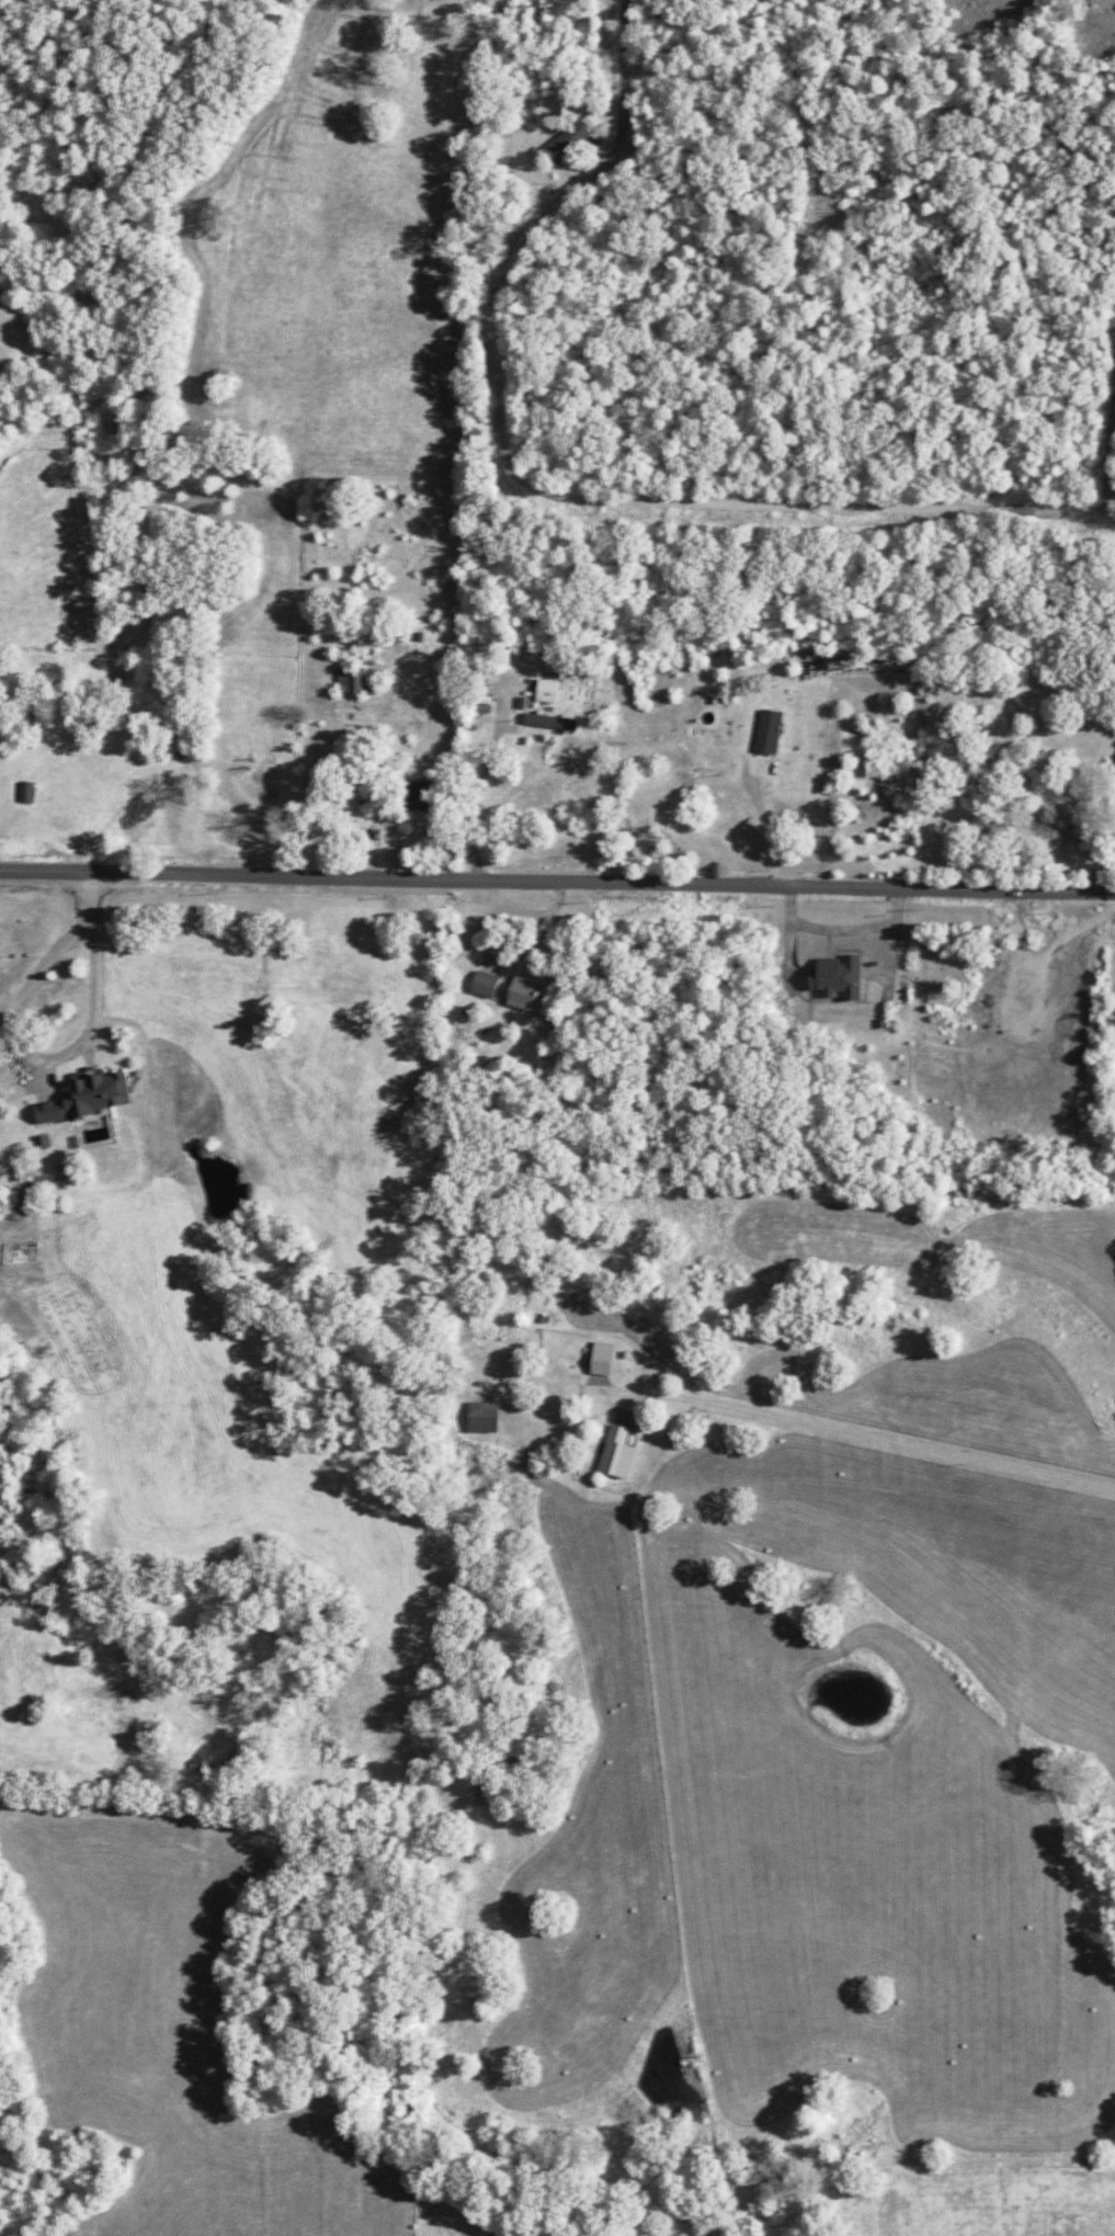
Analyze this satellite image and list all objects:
road: (788, 102)
building: (590, 121)
building: (567, 141)
road: (549, 495)
road: (1114, 500)
building: (351, 680)
building: (546, 691)
building: (549, 722)
building: (767, 731)
building: (25, 792)
building: (418, 796)
road: (557, 881)
building: (837, 977)
building: (483, 984)
building: (523, 994)
building: (87, 1098)
building: (14, 1204)
building: (601, 1359)
building: (482, 1417)
road: (869, 1439)
building: (616, 1453)

